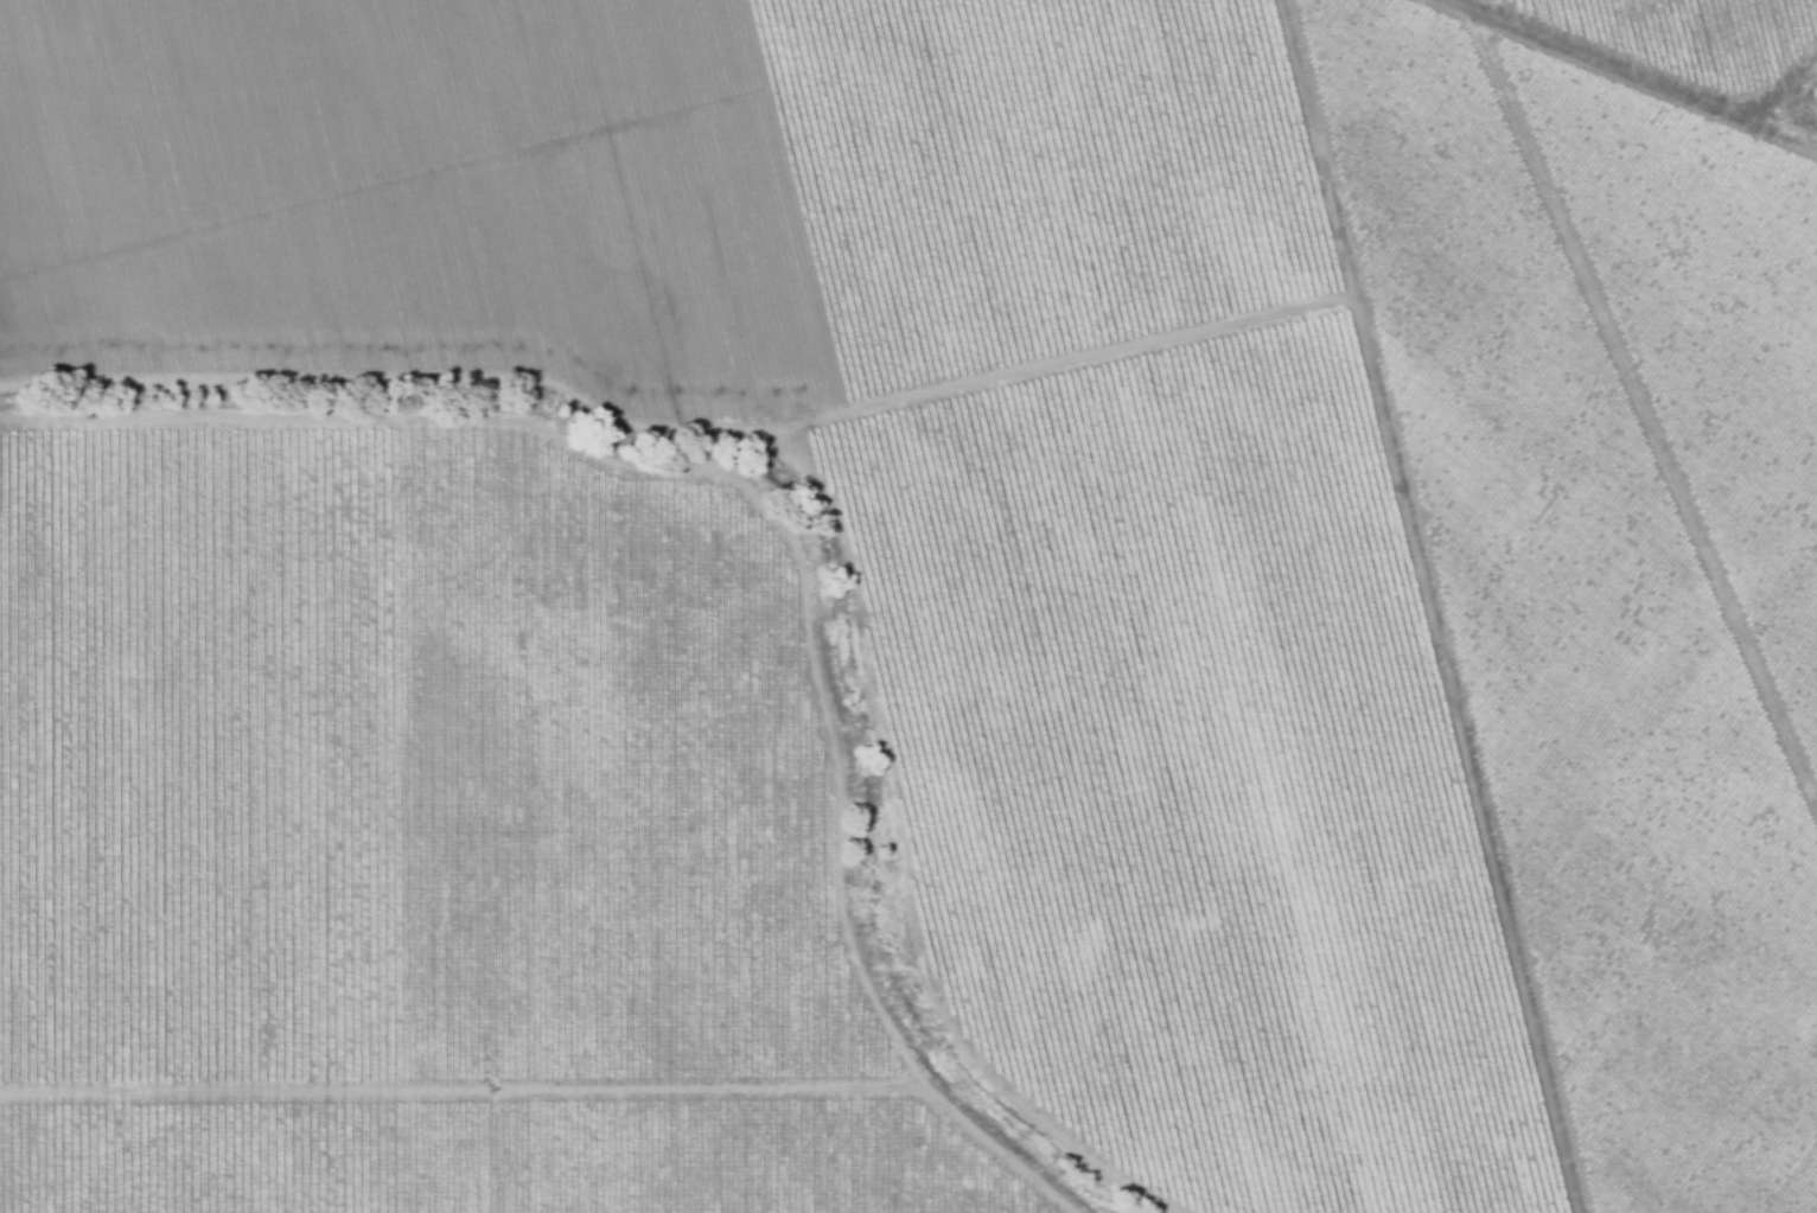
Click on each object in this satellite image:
road: (1626, 74)
road: (1779, 88)
road: (1634, 426)
road: (1415, 606)

